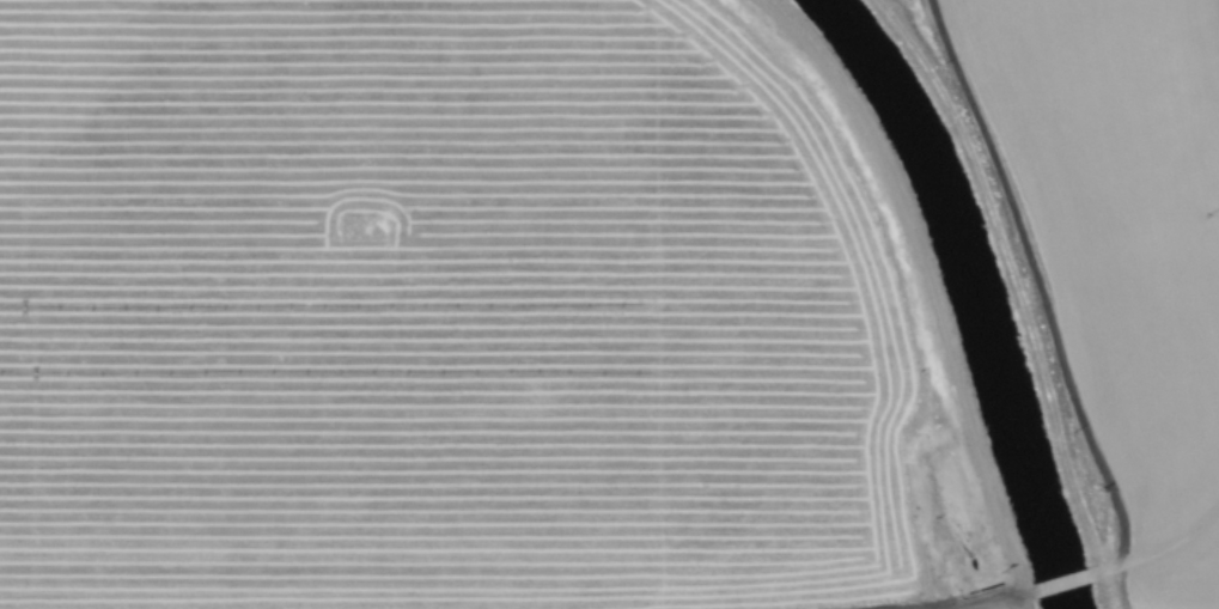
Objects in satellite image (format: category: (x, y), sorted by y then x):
road: (909, 278)
crop: (609, 304)
road: (1122, 562)
road: (986, 604)
road: (1016, 604)

